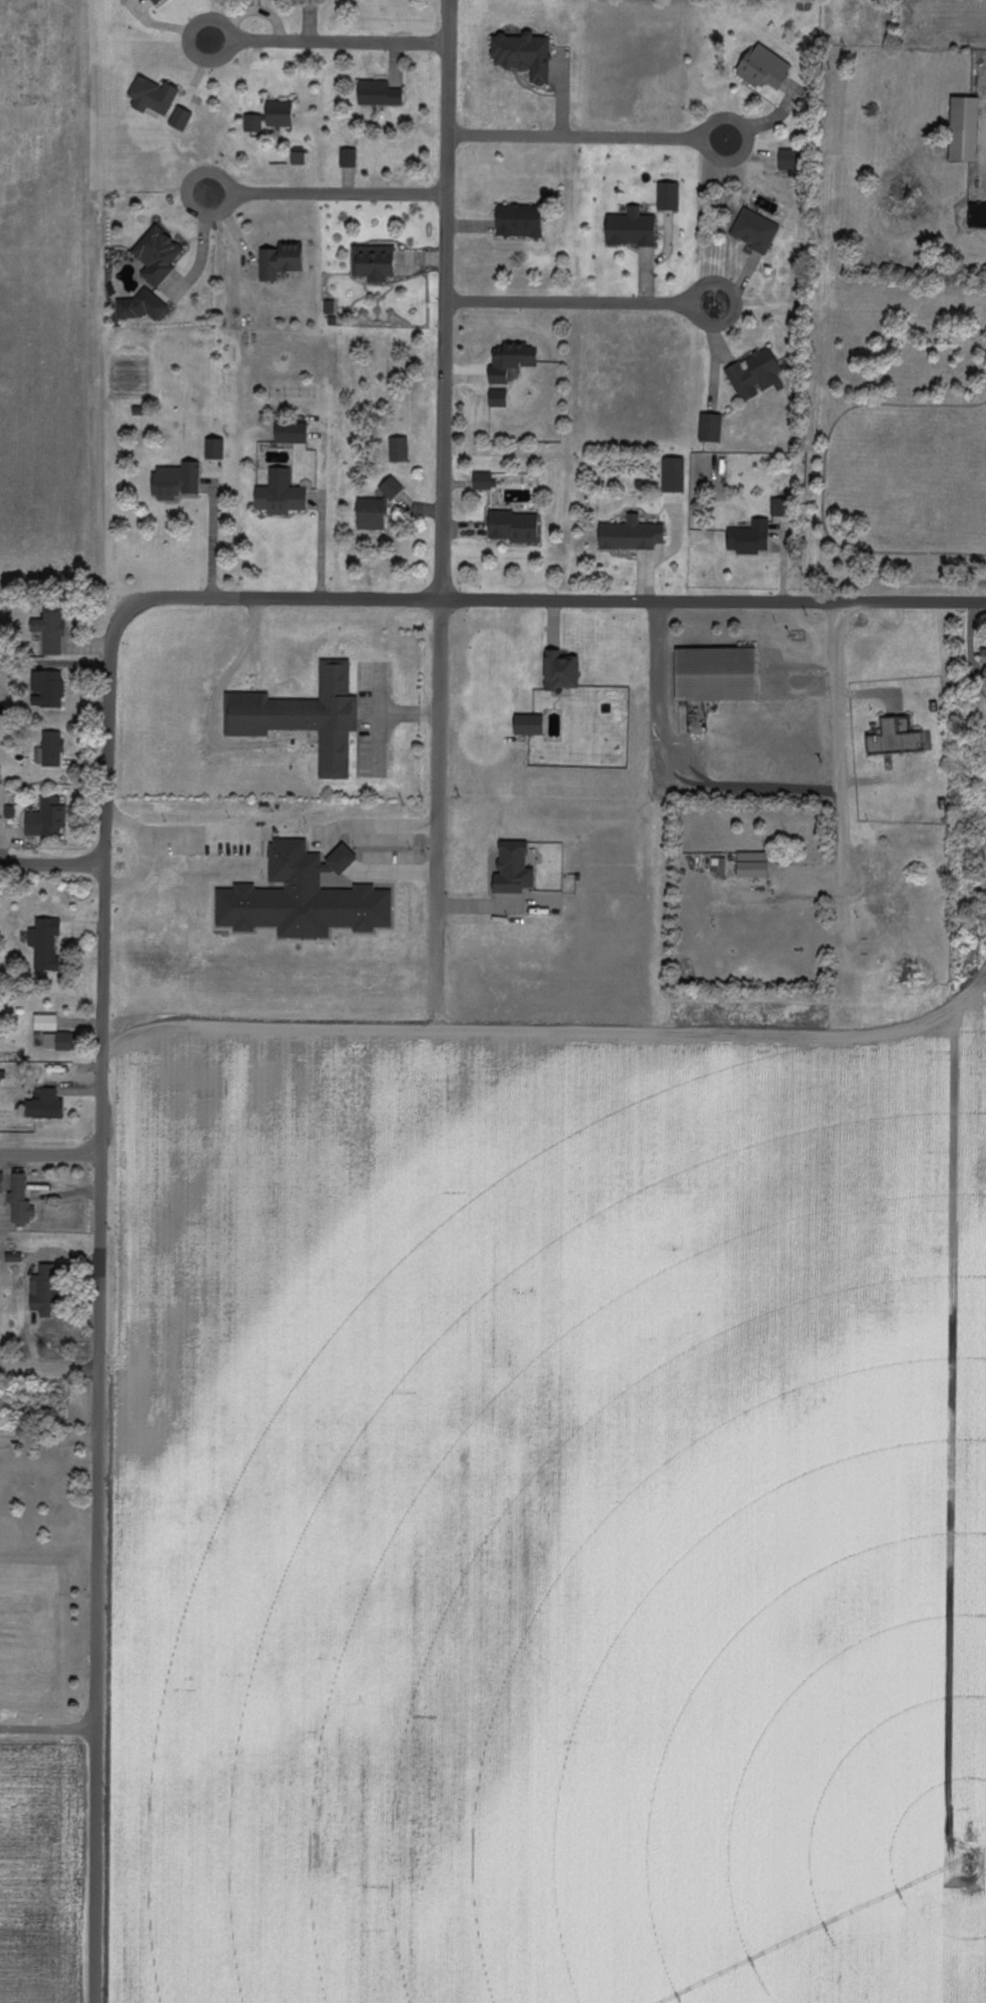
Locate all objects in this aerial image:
building: (154, 1)
road: (343, 41)
building: (523, 55)
road: (195, 56)
building: (763, 68)
building: (378, 93)
building: (152, 96)
building: (279, 114)
building: (180, 119)
road: (741, 120)
building: (252, 123)
building: (964, 129)
road: (571, 135)
building: (298, 157)
building: (348, 158)
building: (789, 160)
road: (192, 179)
road: (342, 194)
building: (668, 197)
building: (977, 216)
building: (519, 221)
building: (631, 229)
building: (755, 231)
building: (157, 255)
building: (279, 261)
building: (374, 262)
road: (733, 291)
road: (445, 299)
road: (567, 300)
building: (140, 307)
building: (329, 309)
building: (510, 360)
building: (753, 375)
building: (498, 398)
building: (710, 427)
building: (291, 432)
building: (215, 448)
building: (398, 449)
building: (673, 474)
building: (175, 480)
building: (483, 480)
building: (391, 487)
building: (280, 494)
building: (371, 513)
building: (514, 526)
road: (215, 534)
building: (630, 534)
building: (749, 537)
road: (325, 542)
road: (538, 599)
building: (49, 629)
road: (974, 649)
building: (983, 655)
building: (561, 670)
building: (715, 673)
building: (47, 688)
road: (835, 696)
building: (302, 716)
building: (528, 724)
building: (895, 736)
building: (50, 749)
road: (667, 780)
road: (438, 811)
building: (46, 818)
road: (52, 864)
building: (752, 864)
building: (718, 866)
building: (512, 868)
building: (303, 896)
building: (43, 942)
road: (711, 1015)
road: (267, 1020)
building: (45, 1022)
building: (56, 1041)
building: (45, 1105)
road: (51, 1154)
building: (1, 1181)
building: (20, 1200)
building: (13, 1257)
building: (44, 1290)
road: (100, 1316)
road: (50, 1366)
road: (49, 1437)
road: (48, 1604)

